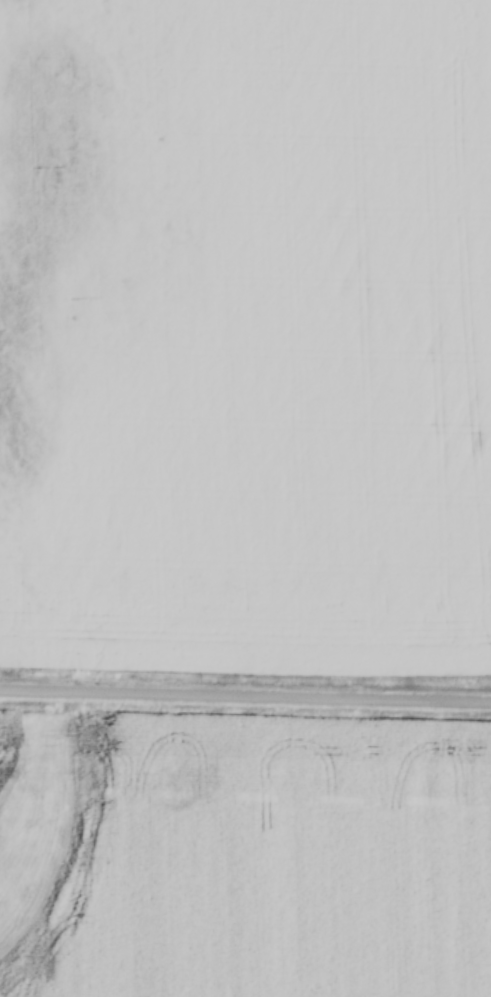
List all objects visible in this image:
road: (245, 694)

